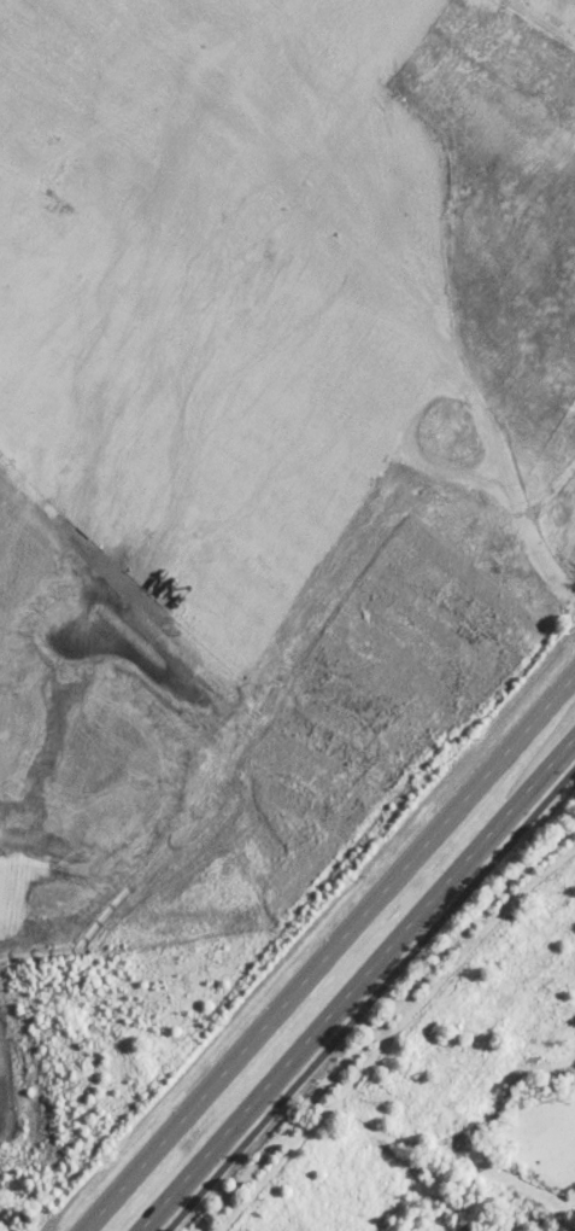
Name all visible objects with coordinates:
road: (328, 952)
road: (358, 985)
road: (368, 997)
park: (446, 1083)

